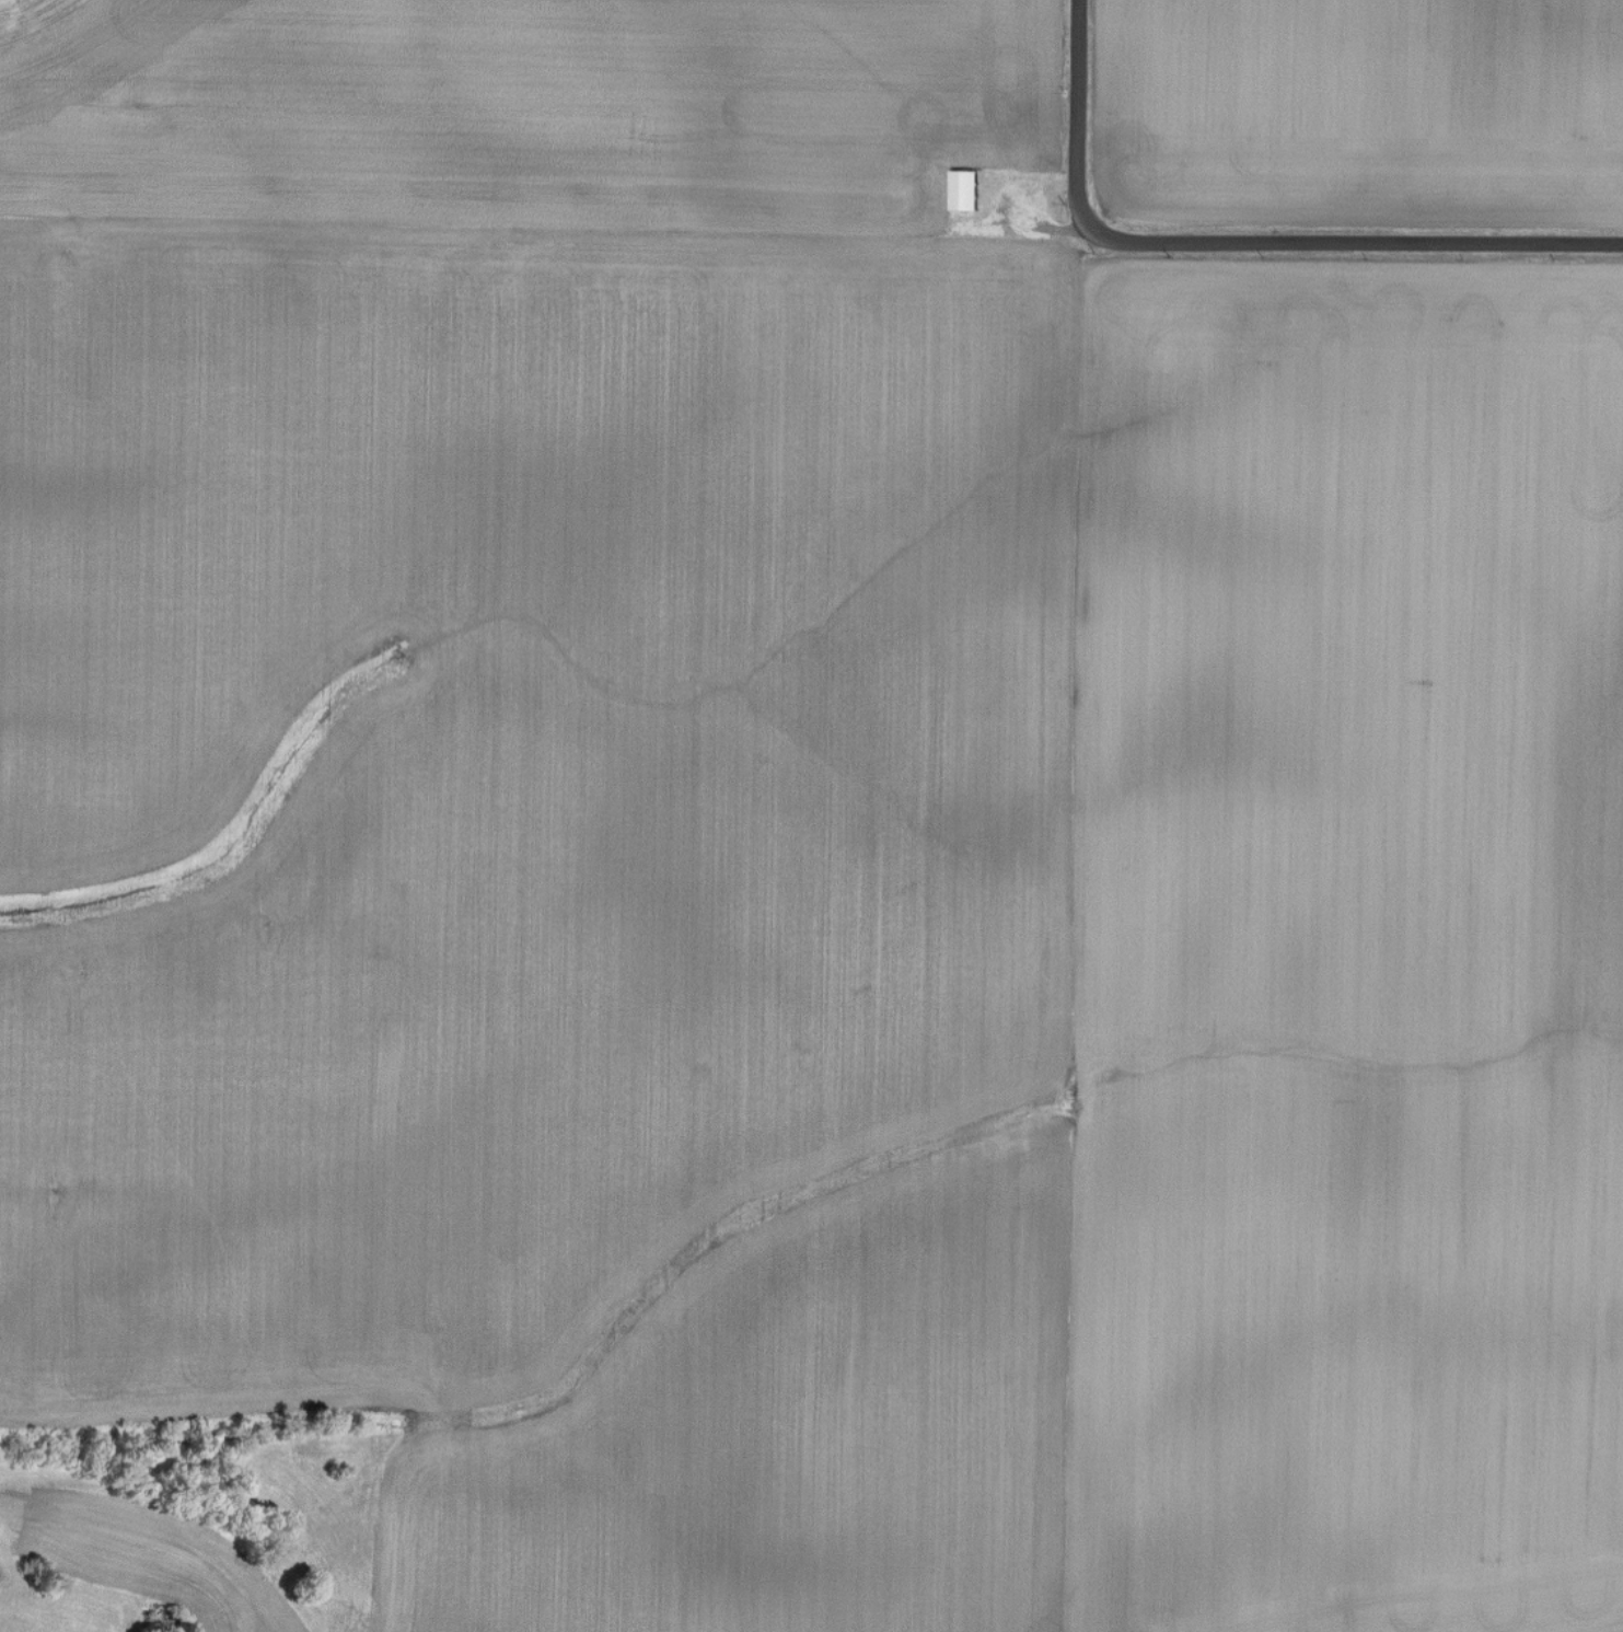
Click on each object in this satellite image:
road: (1071, 105)
building: (970, 189)
road: (1343, 242)

